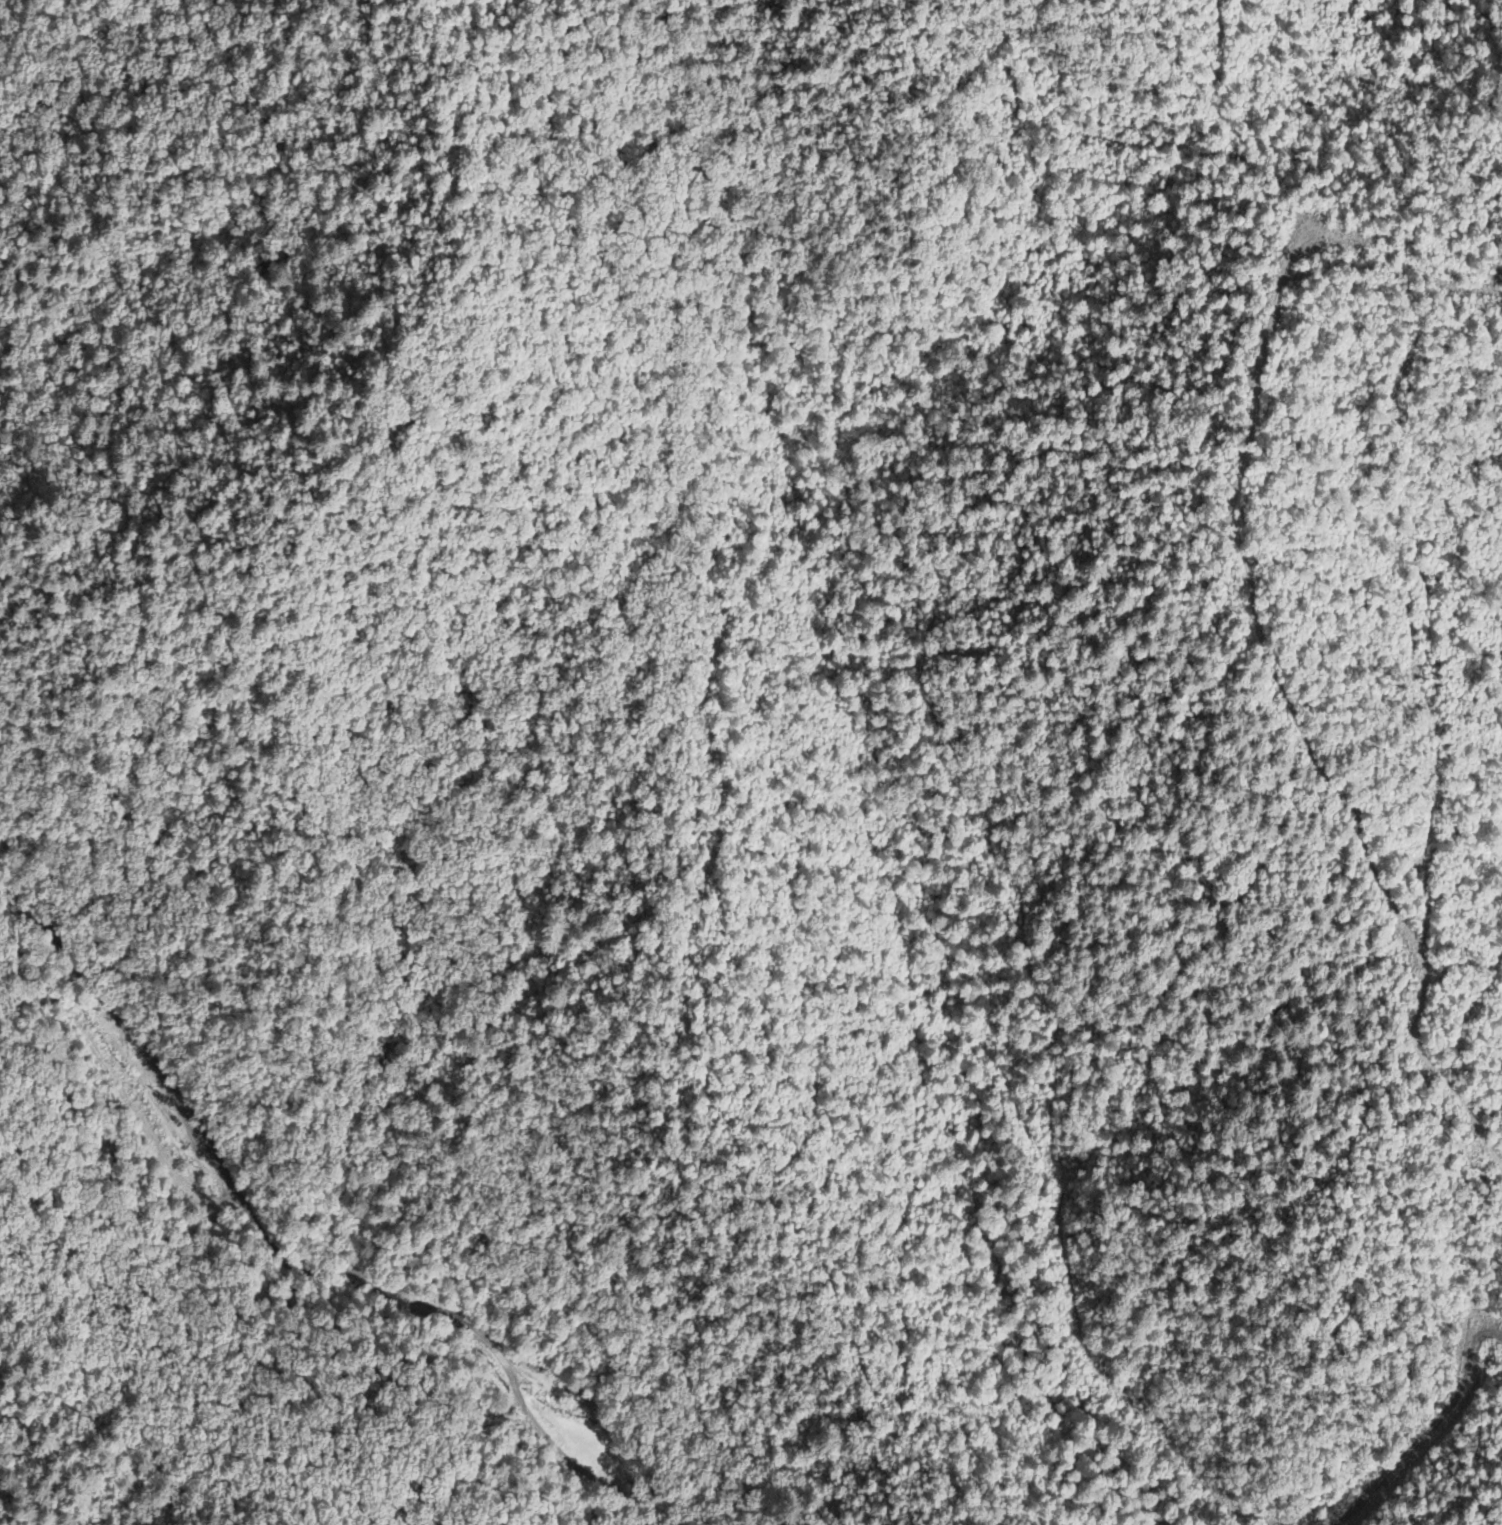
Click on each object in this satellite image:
road: (282, 1228)

